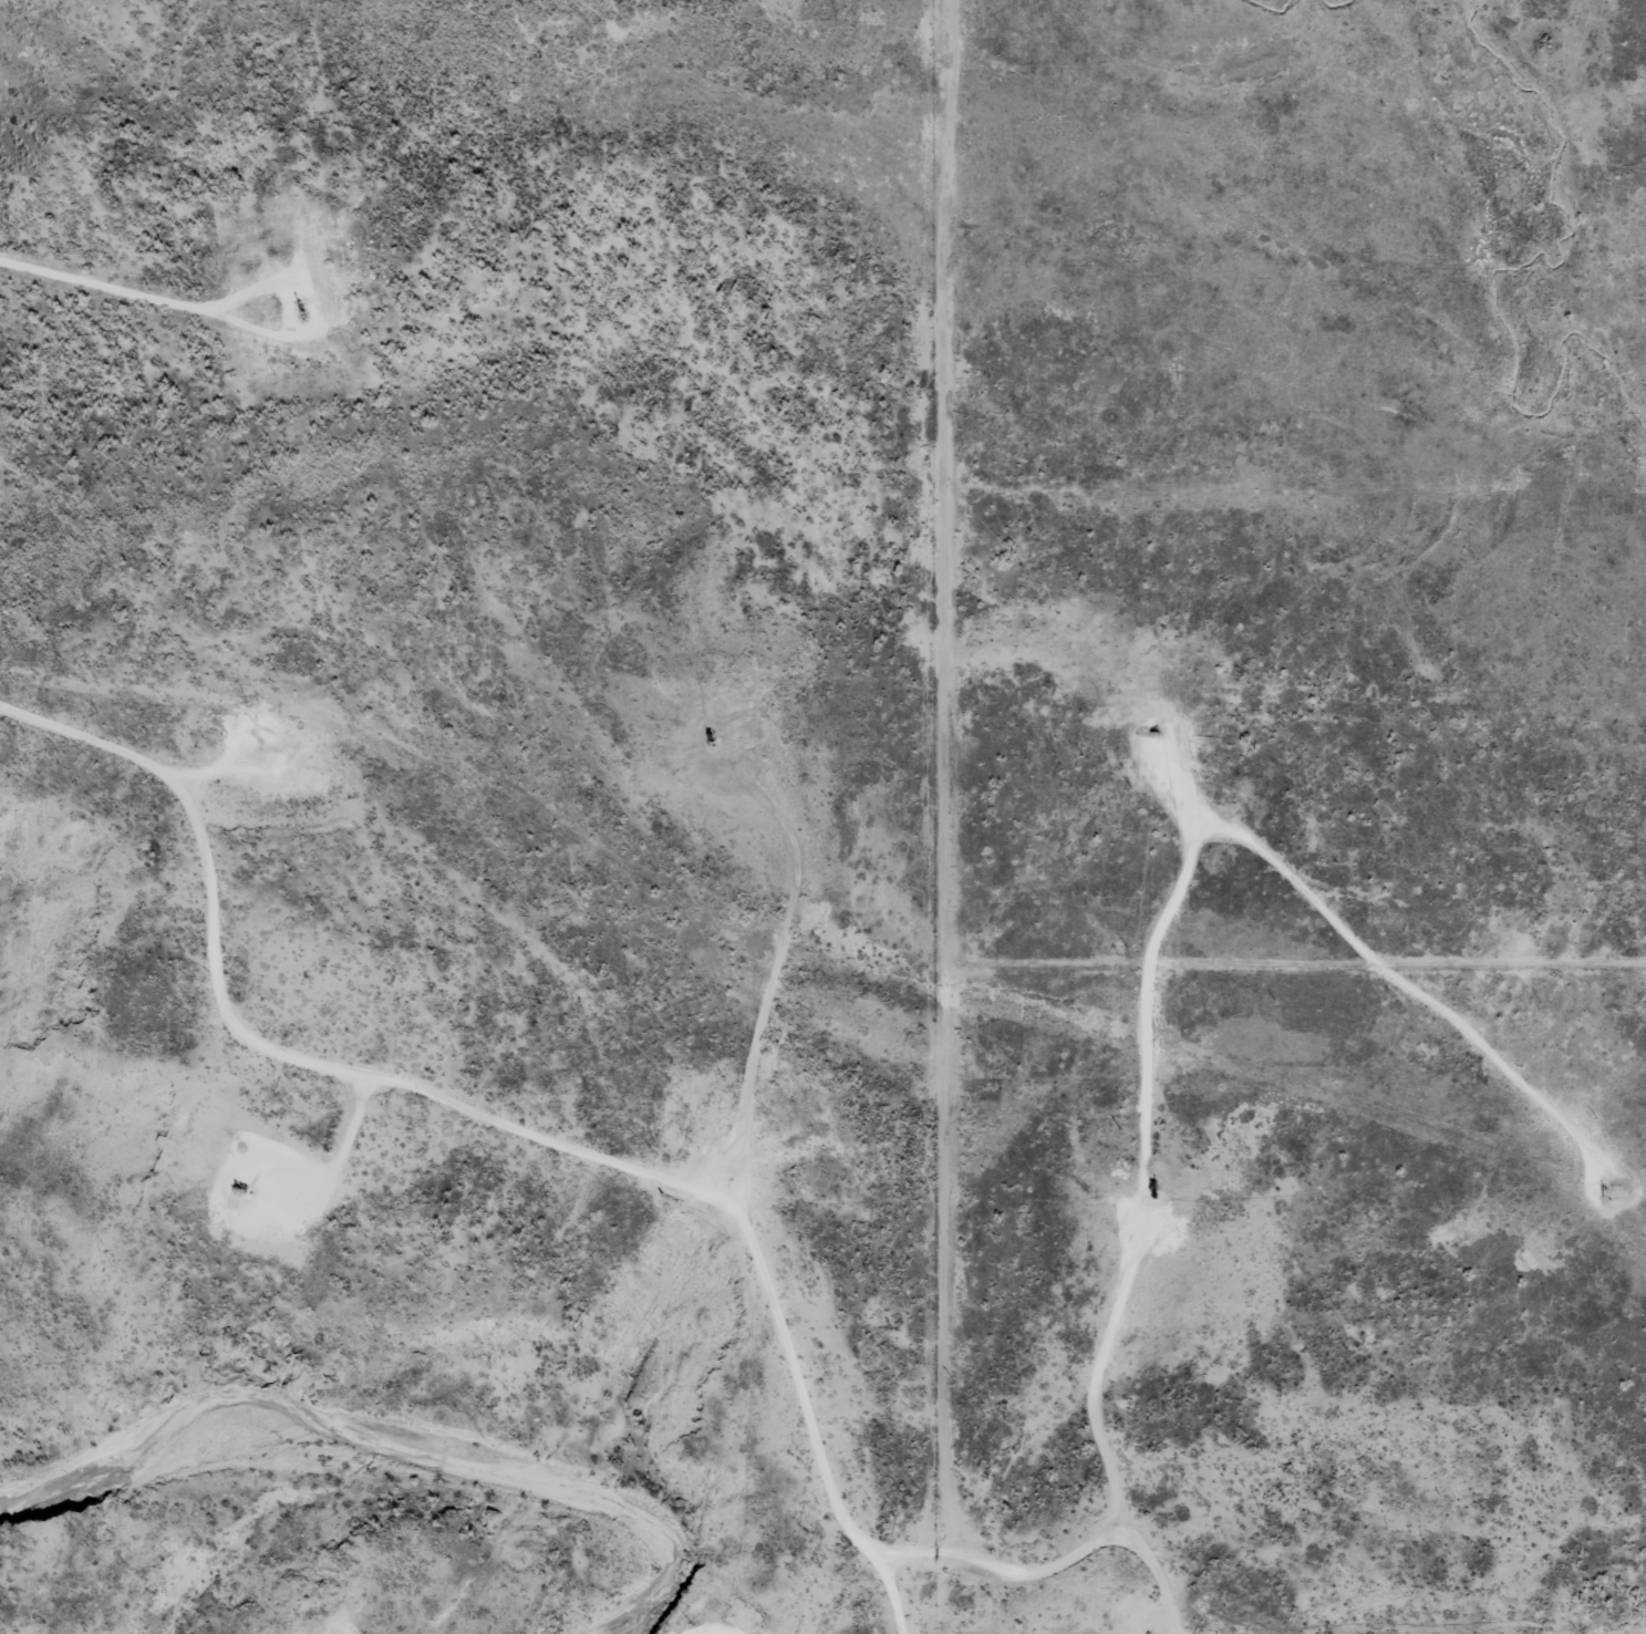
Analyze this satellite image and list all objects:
road: (161, 299)
road: (952, 1554)
road: (1152, 1566)
road: (335, 1631)

